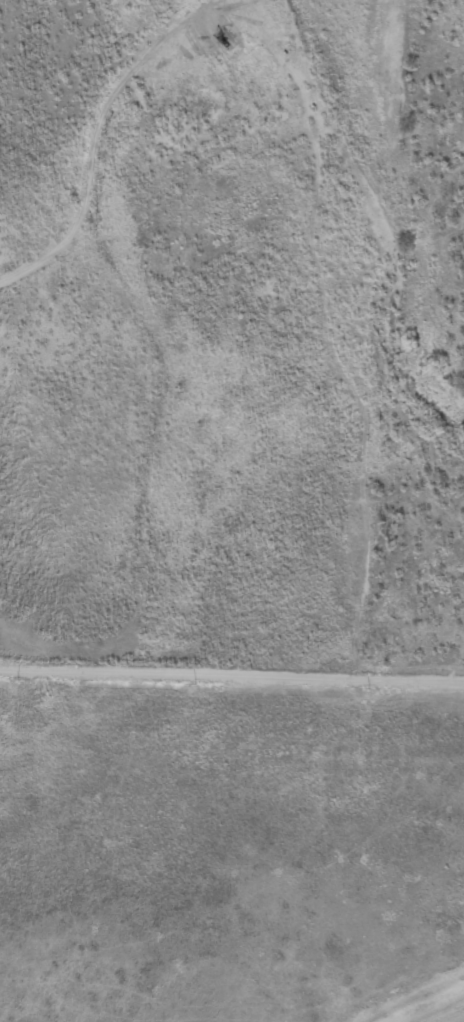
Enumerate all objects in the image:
road: (232, 673)
road: (414, 996)

